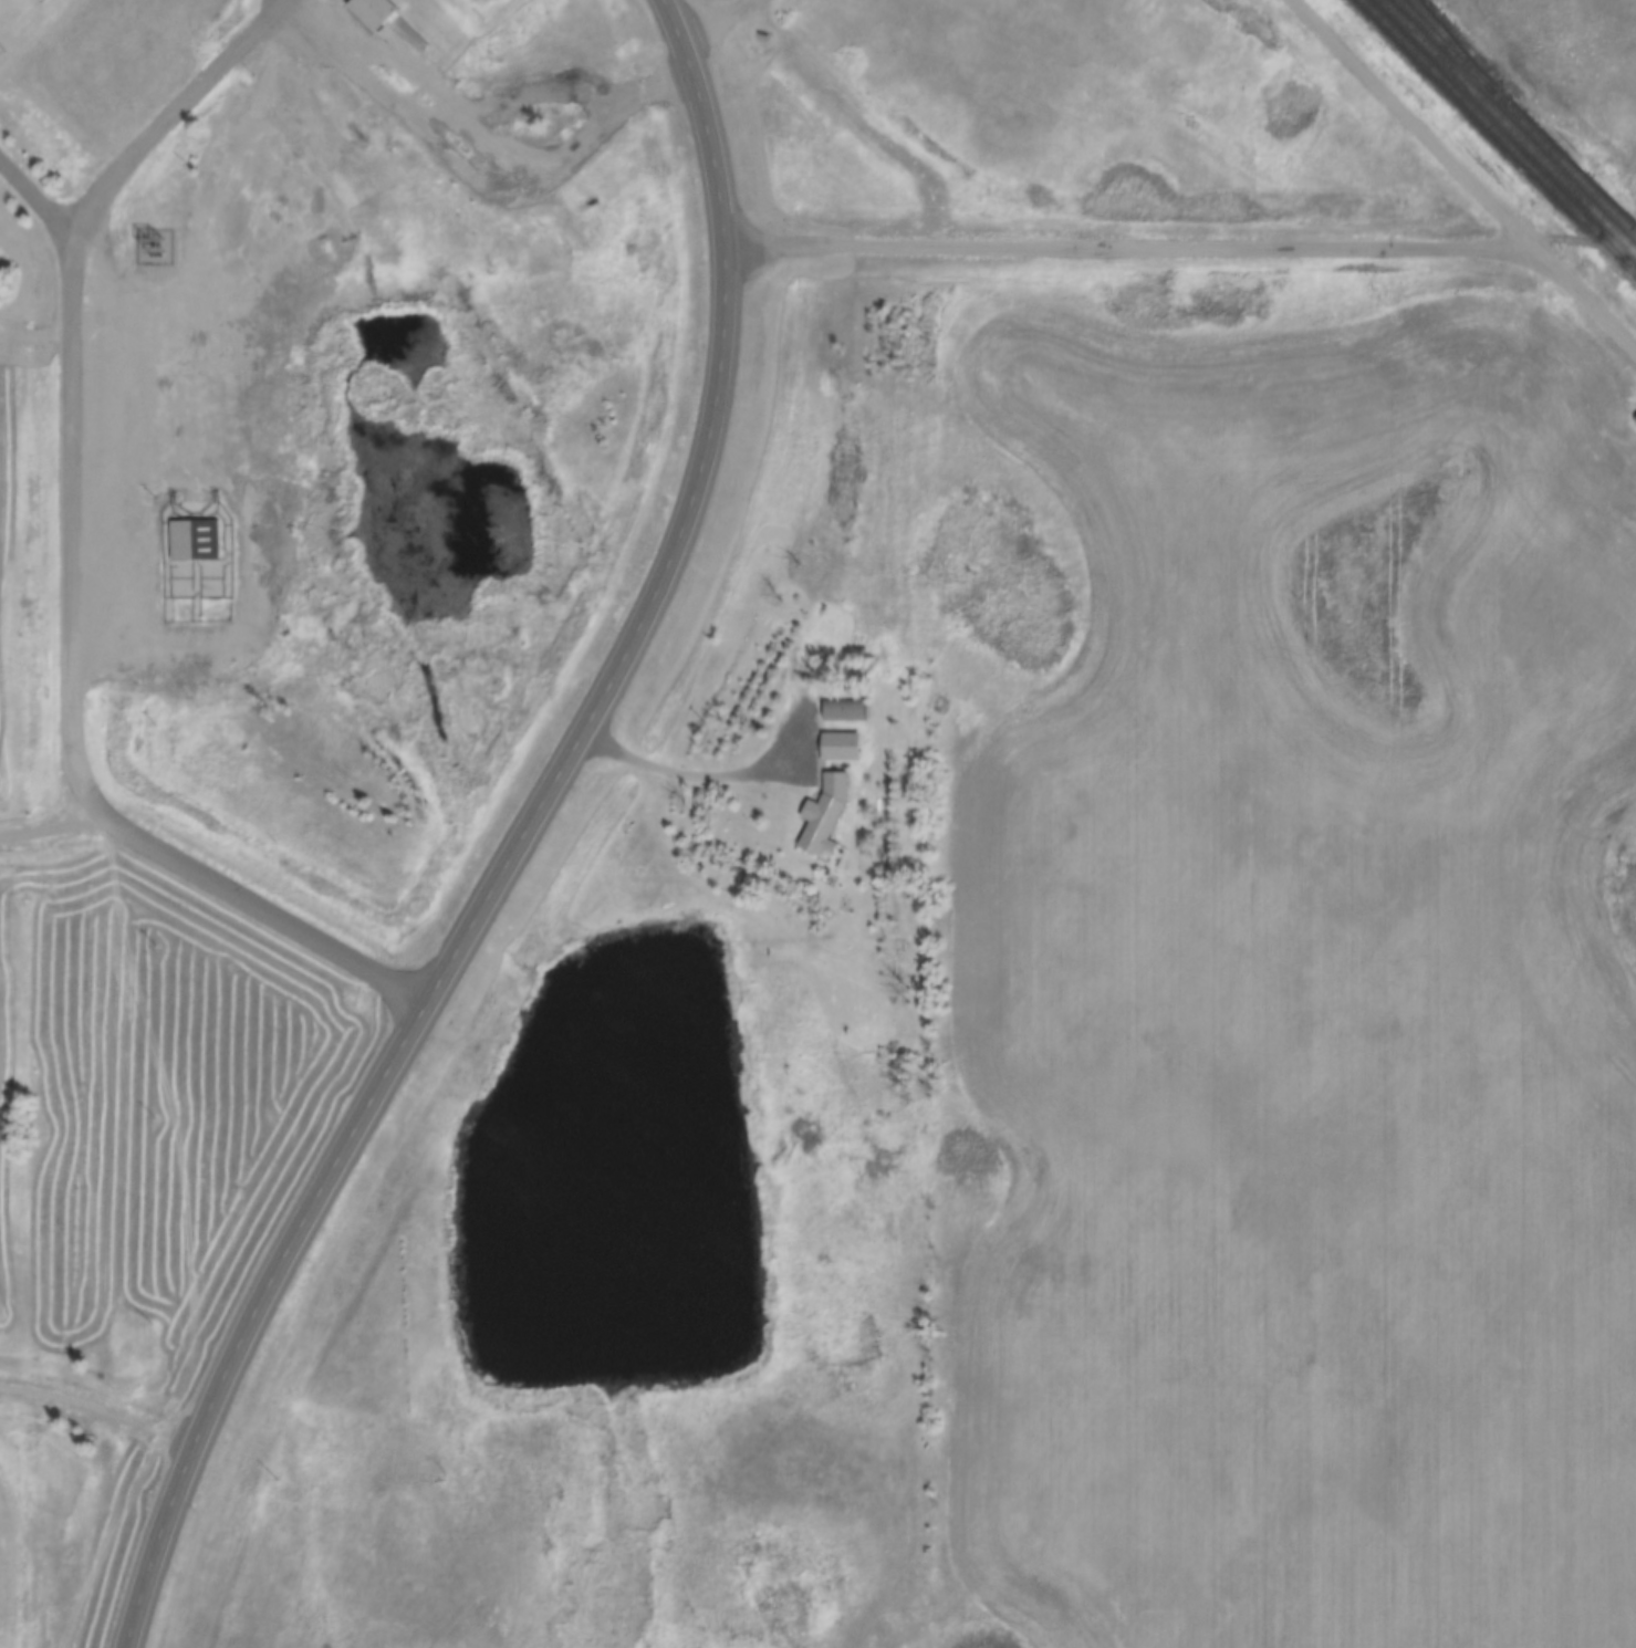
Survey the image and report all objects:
road: (285, 1)
building: (388, 19)
road: (685, 25)
railway: (1448, 41)
road: (1546, 90)
road: (646, 100)
road: (400, 114)
railway: (1518, 116)
road: (176, 118)
railway: (1509, 125)
railway: (1499, 135)
road: (1460, 178)
road: (34, 200)
road: (1578, 236)
power substation: (154, 249)
road: (1128, 252)
road: (163, 394)
building: (195, 543)
building: (844, 713)
road: (74, 723)
building: (842, 749)
road: (687, 779)
building: (827, 816)
road: (49, 836)
road: (510, 869)
road: (98, 1412)

